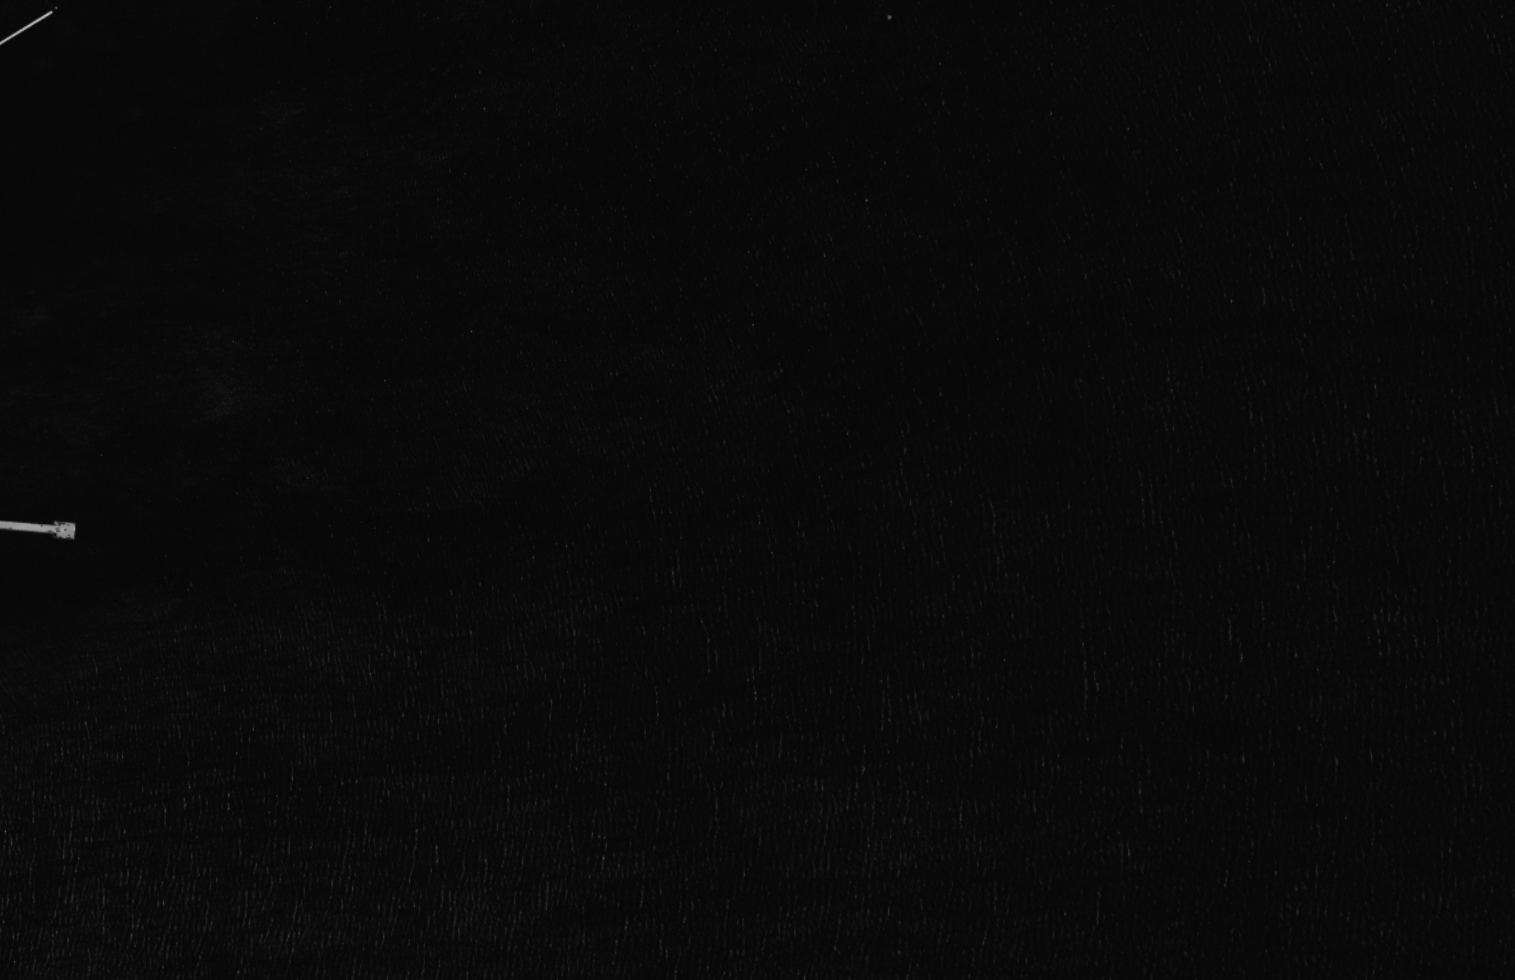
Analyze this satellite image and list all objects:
pier: (41, 527)

